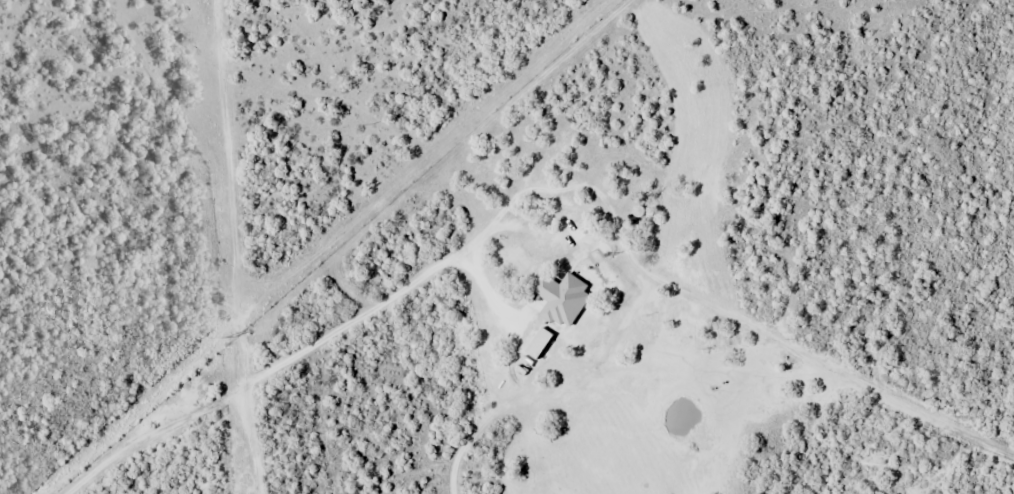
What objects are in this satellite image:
road: (448, 162)
road: (236, 226)
building: (562, 299)
power tower: (228, 337)
building: (538, 344)
road: (838, 369)

